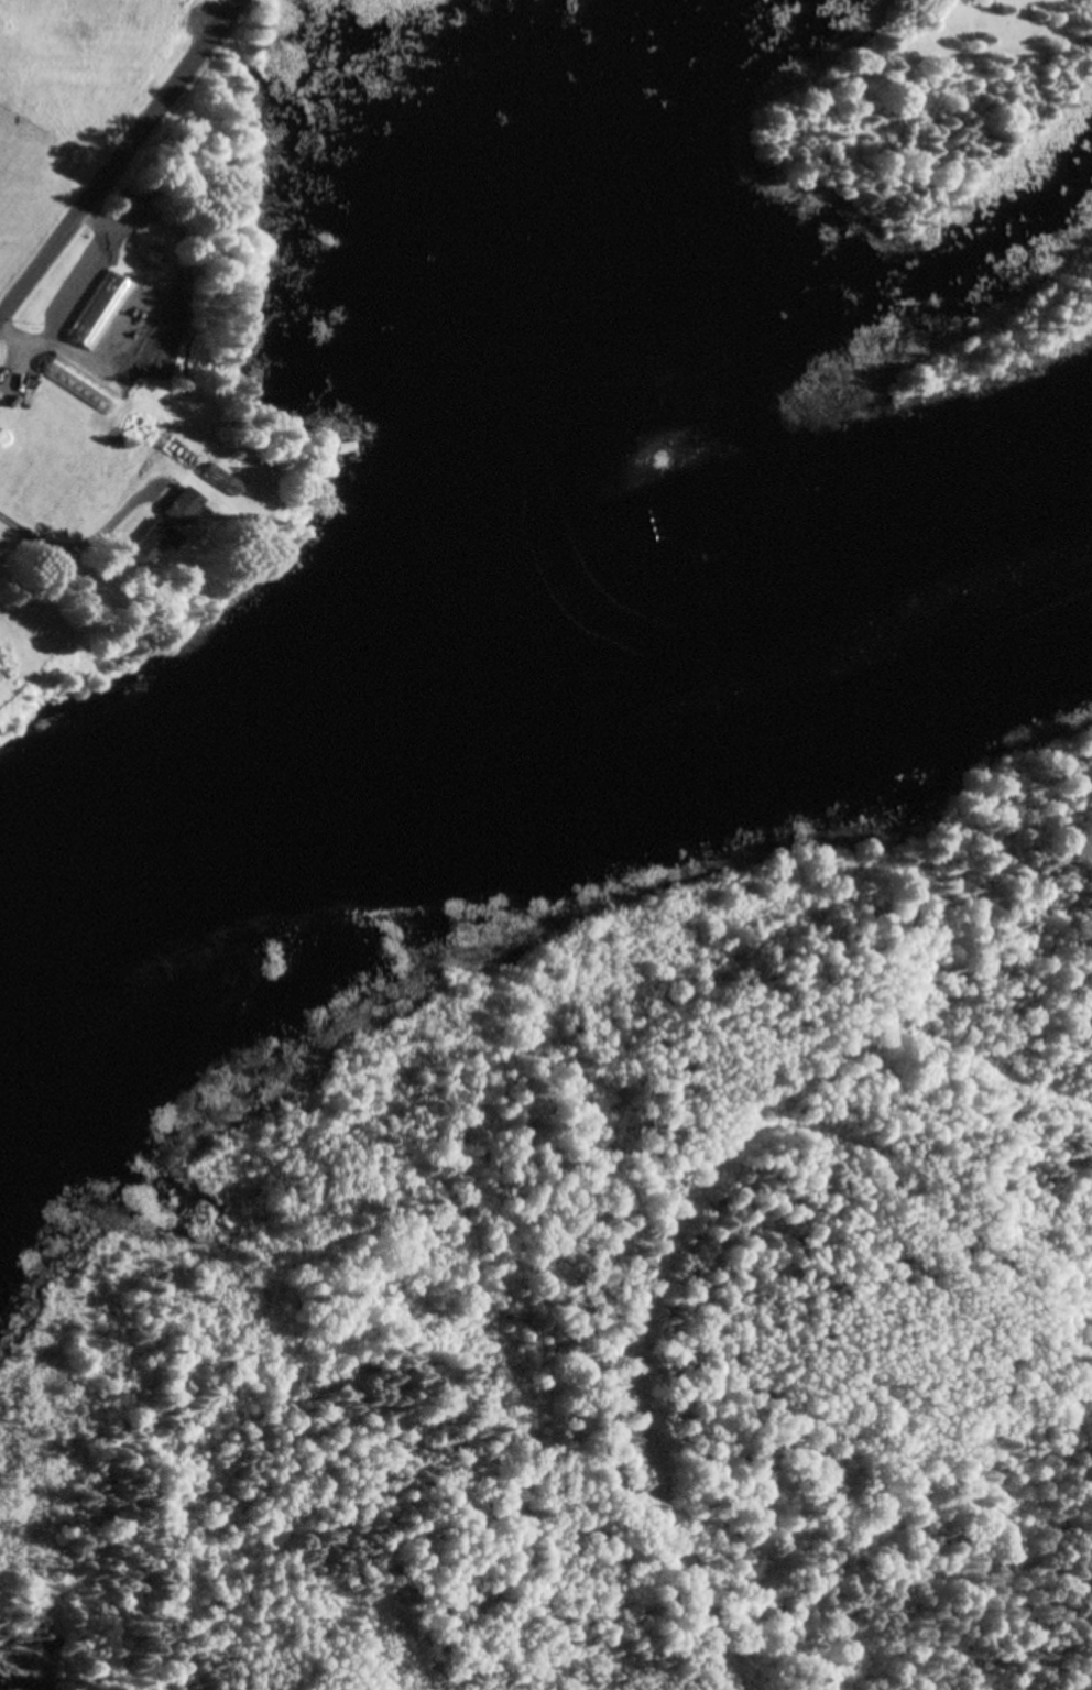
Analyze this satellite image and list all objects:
road: (237, 8)
road: (116, 168)
building: (109, 294)
building: (142, 303)
building: (245, 475)
building: (185, 510)
building: (155, 546)
building: (50, 618)
river: (528, 726)

